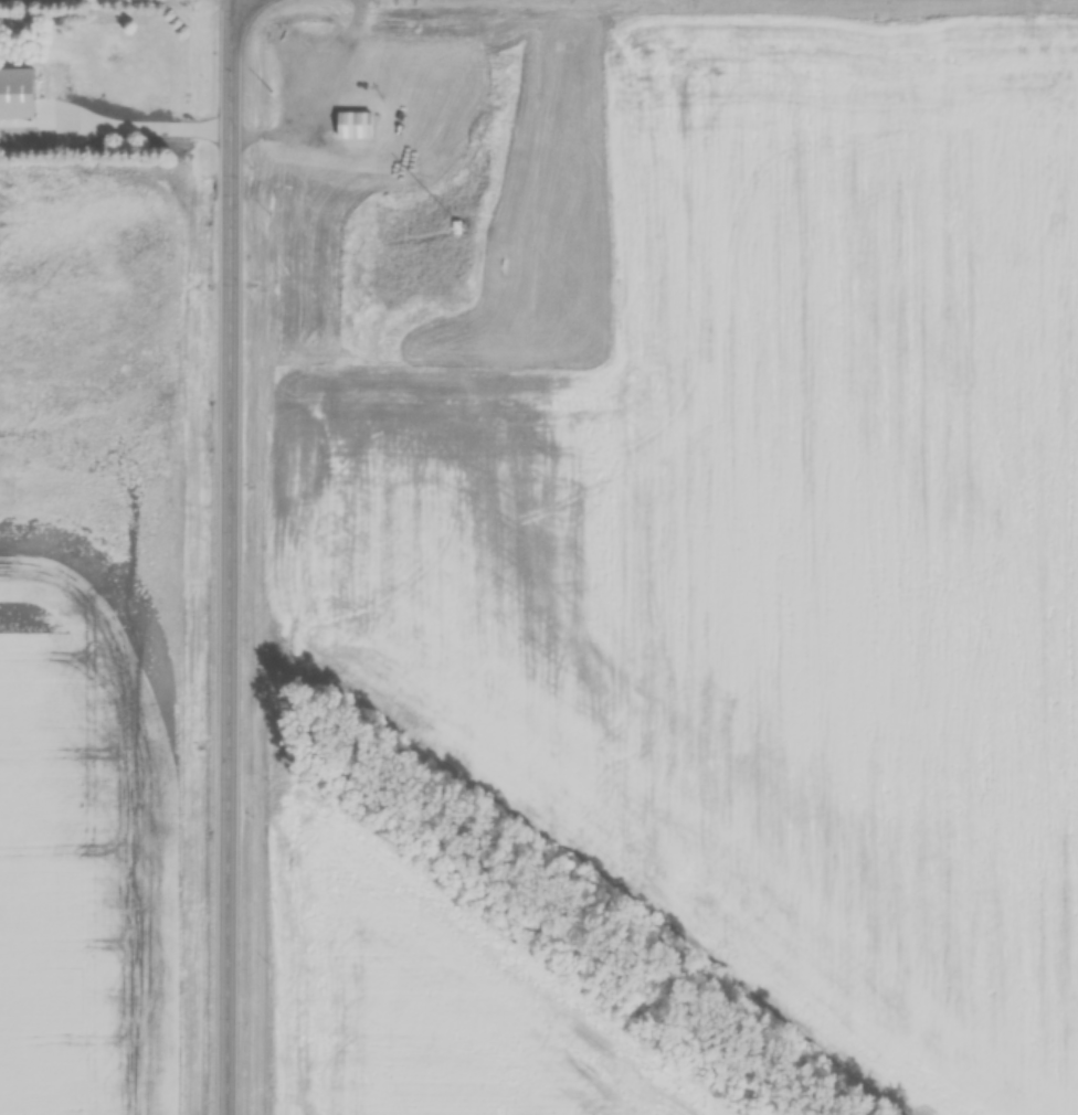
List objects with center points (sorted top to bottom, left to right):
building: (19, 78)
building: (351, 124)
road: (229, 556)

